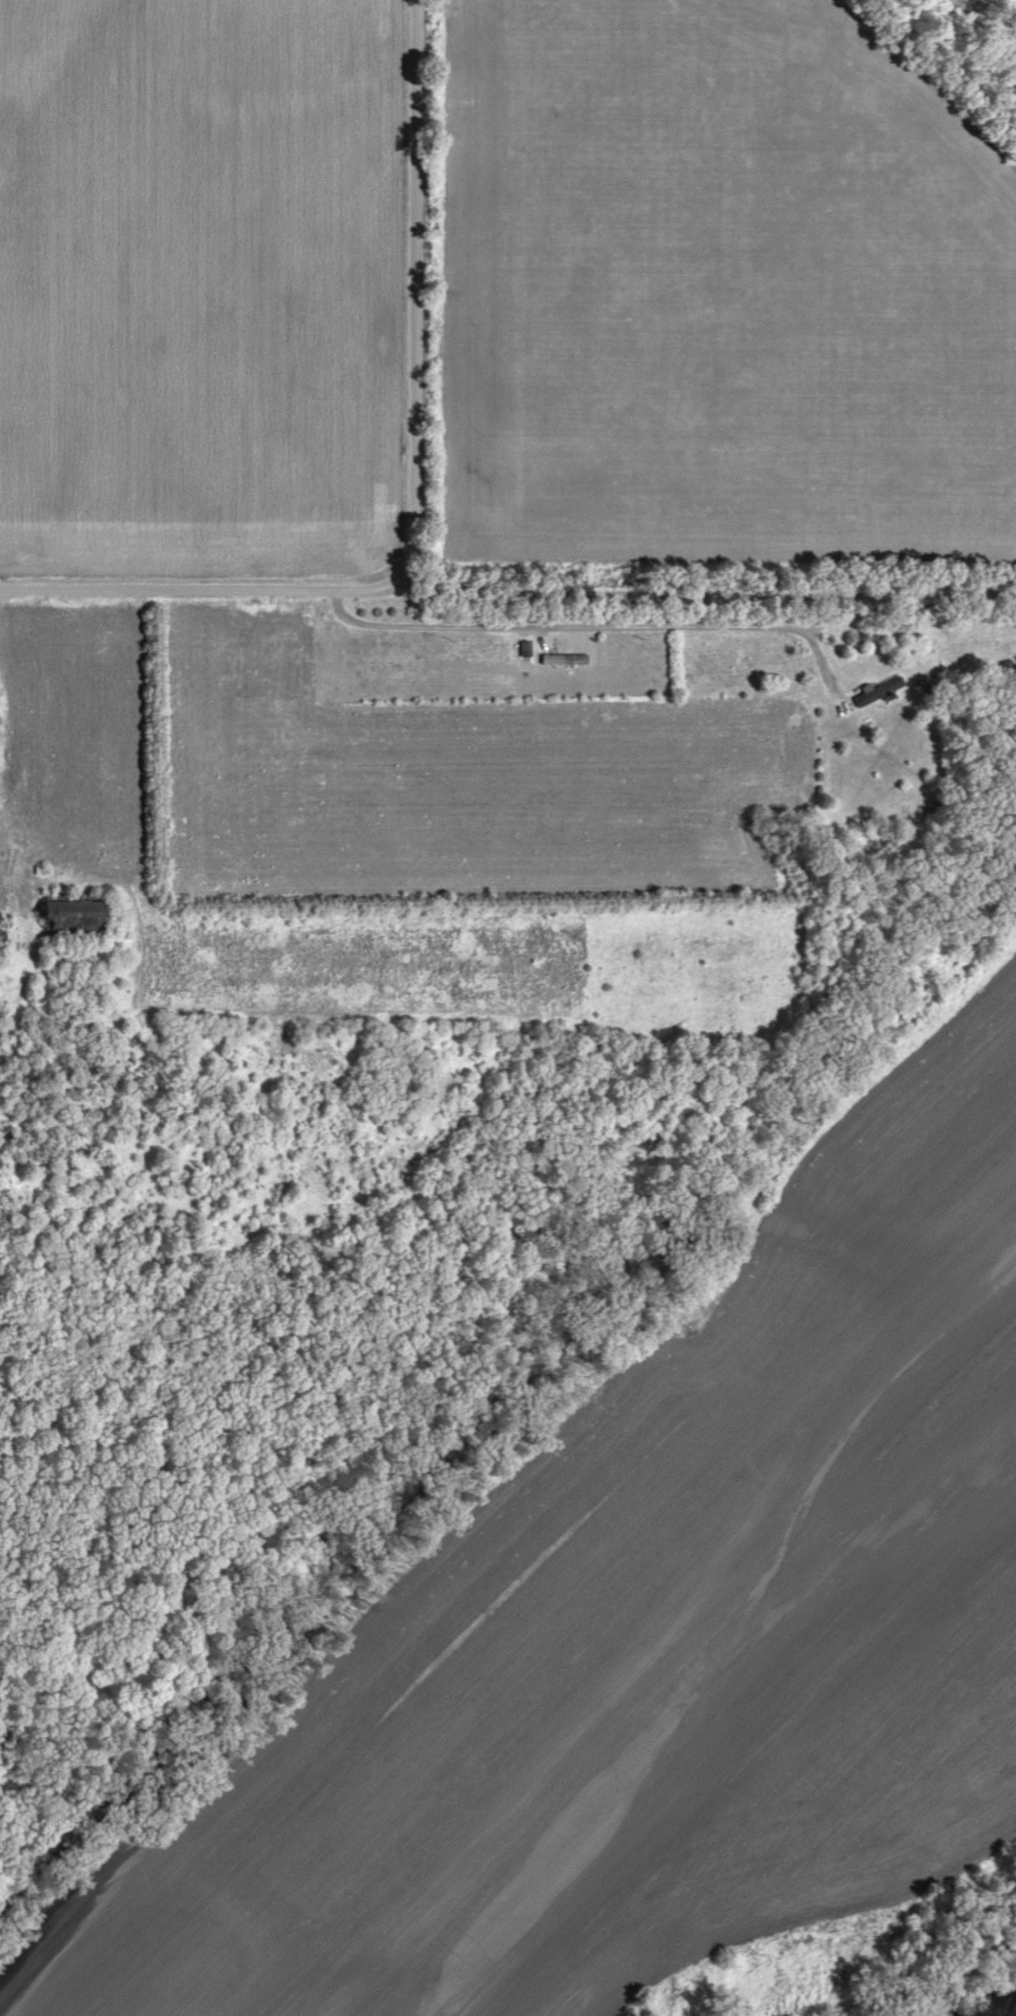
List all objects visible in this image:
road: (411, 491)
road: (589, 629)
building: (527, 651)
building: (555, 661)
building: (880, 694)
building: (77, 916)

